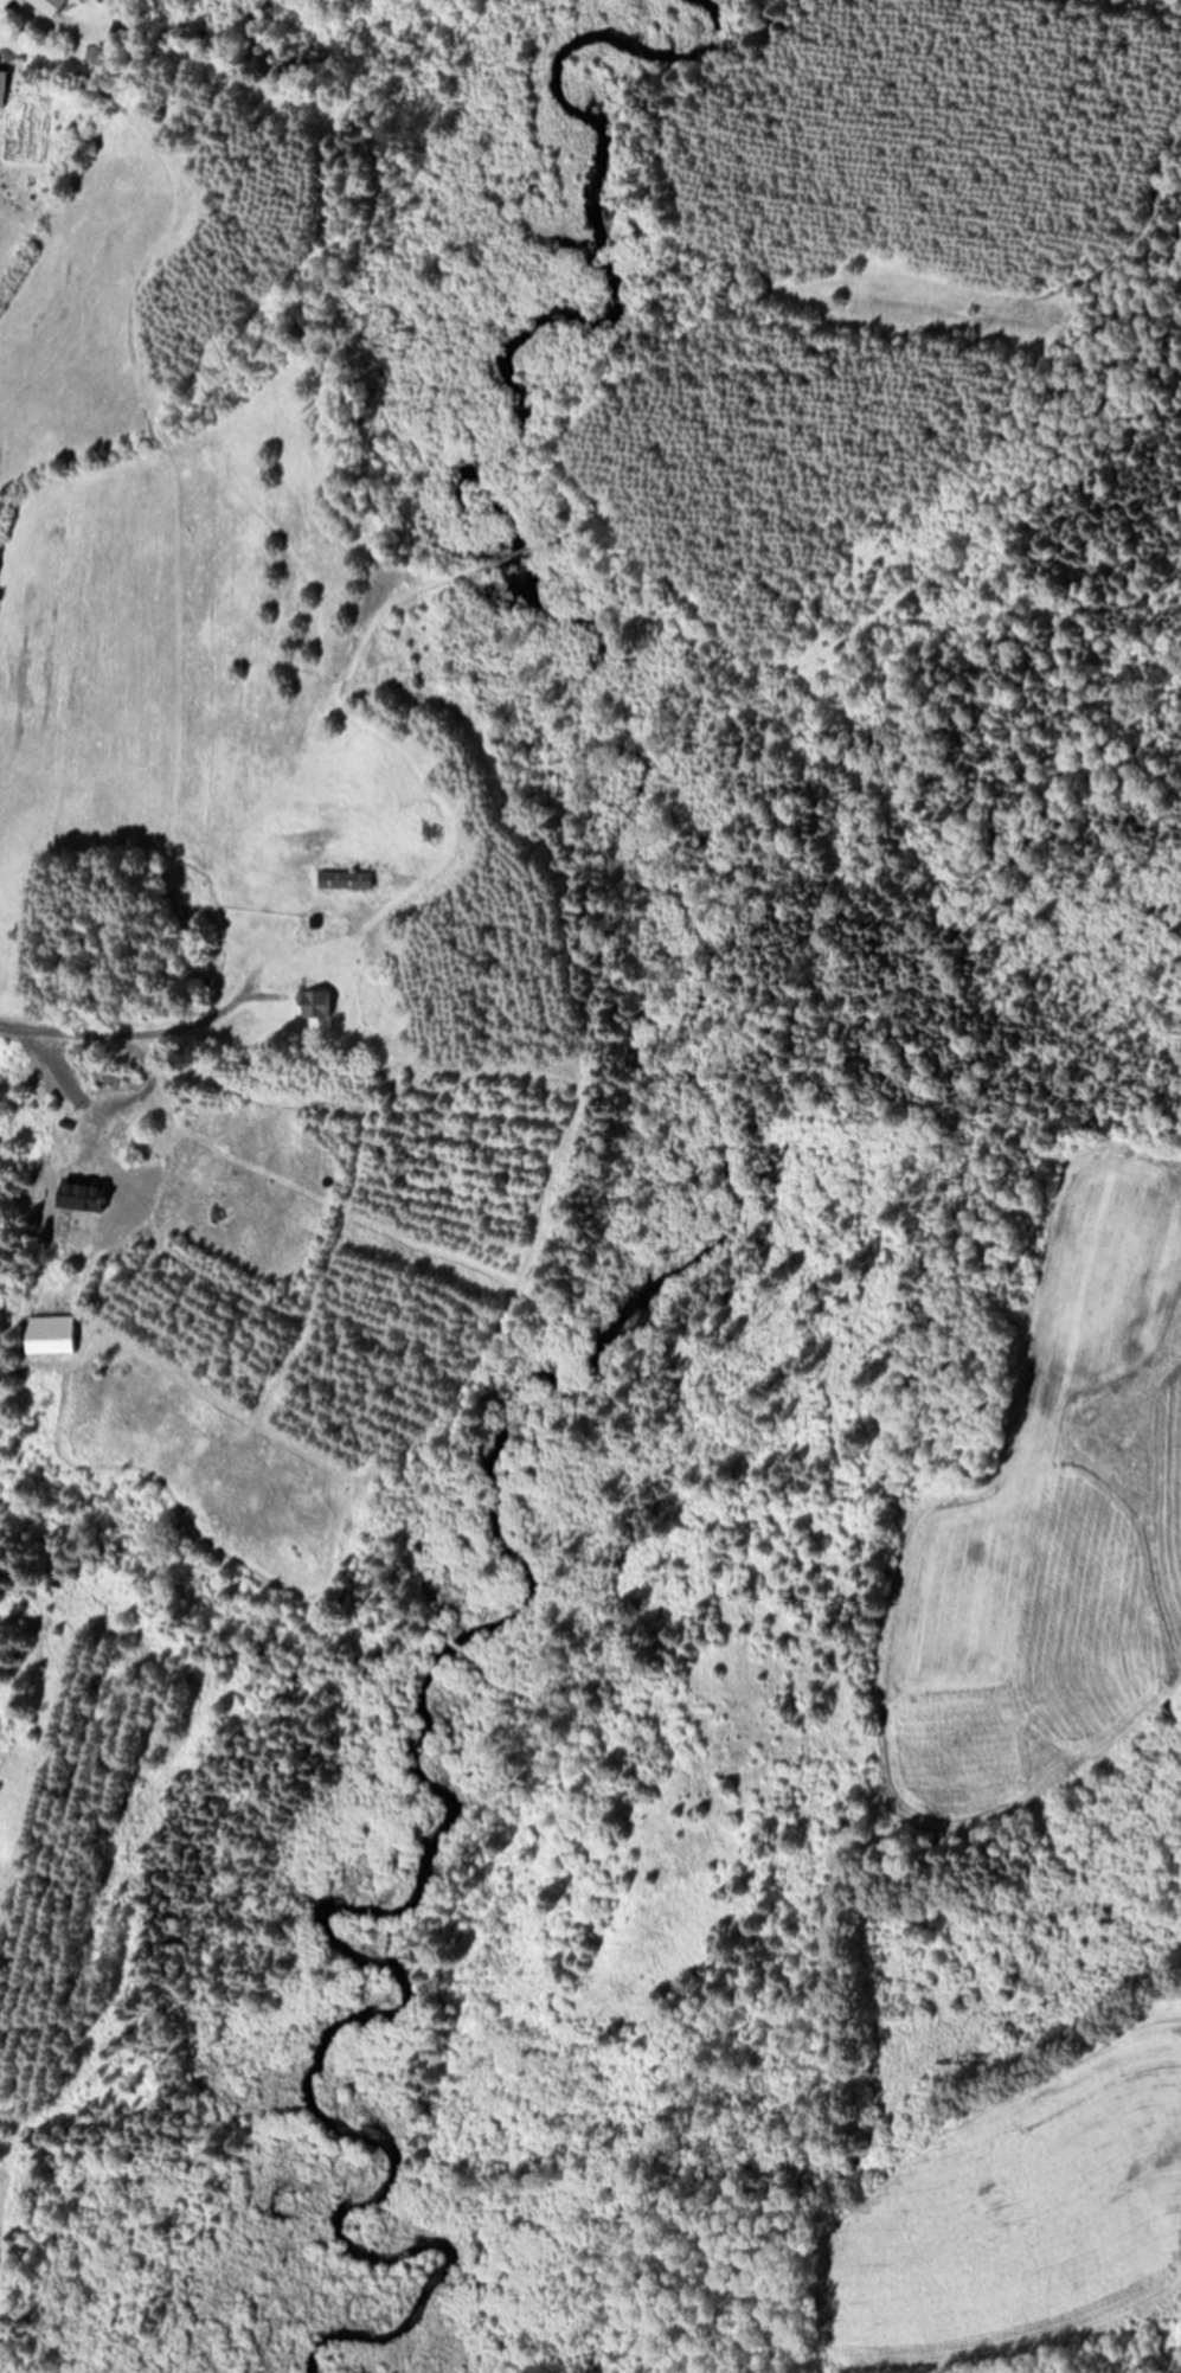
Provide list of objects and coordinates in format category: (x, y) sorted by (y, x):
building: (49, 6)
building: (2, 91)
building: (342, 883)
building: (313, 1007)
road: (131, 1053)
building: (108, 1153)

